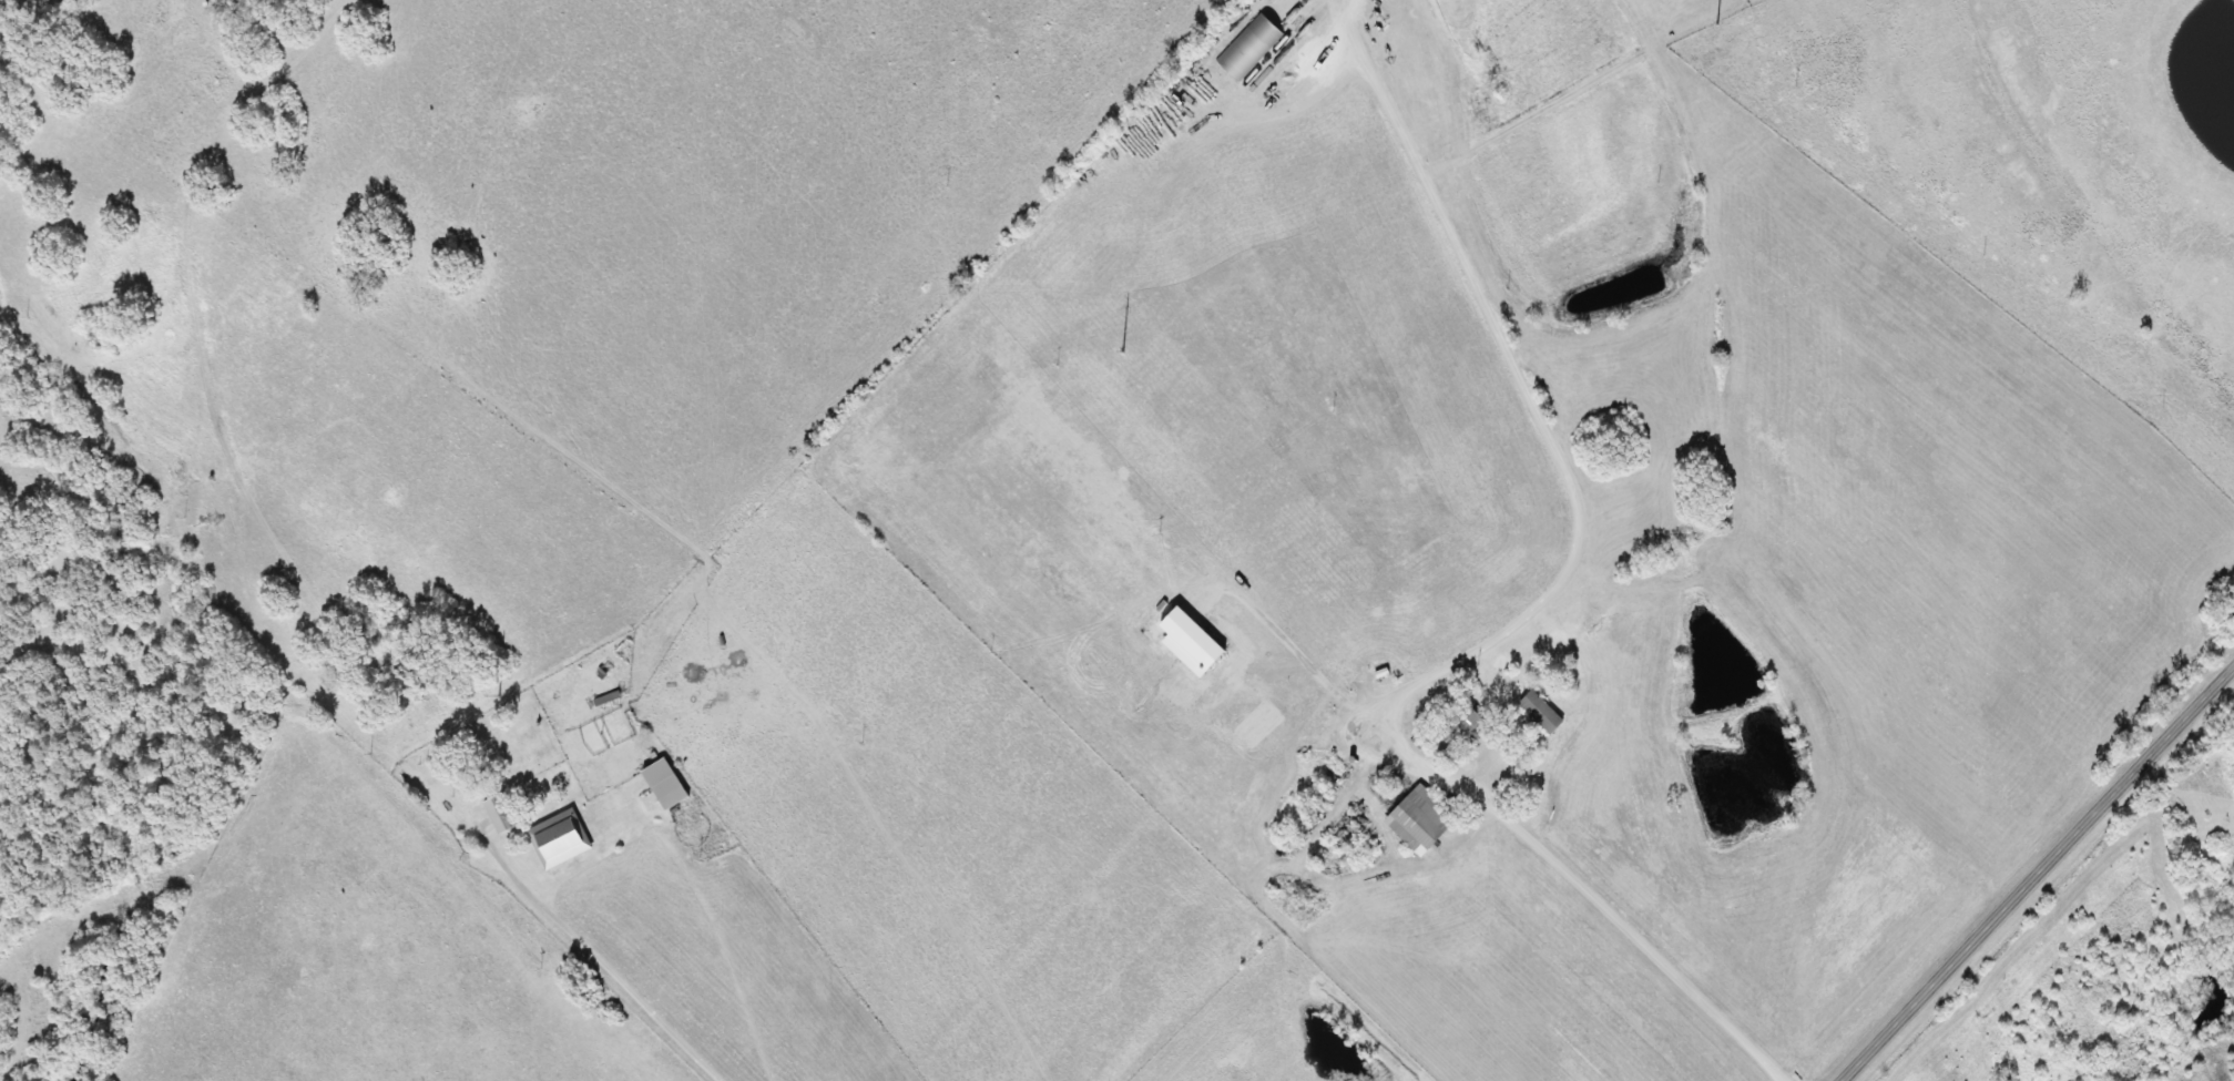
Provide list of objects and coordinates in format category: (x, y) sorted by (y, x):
building: (1534, 712)
building: (1451, 730)
building: (529, 785)
building: (665, 793)
building: (493, 815)
building: (1415, 820)
road: (2034, 871)
road: (1635, 940)
road: (600, 965)

